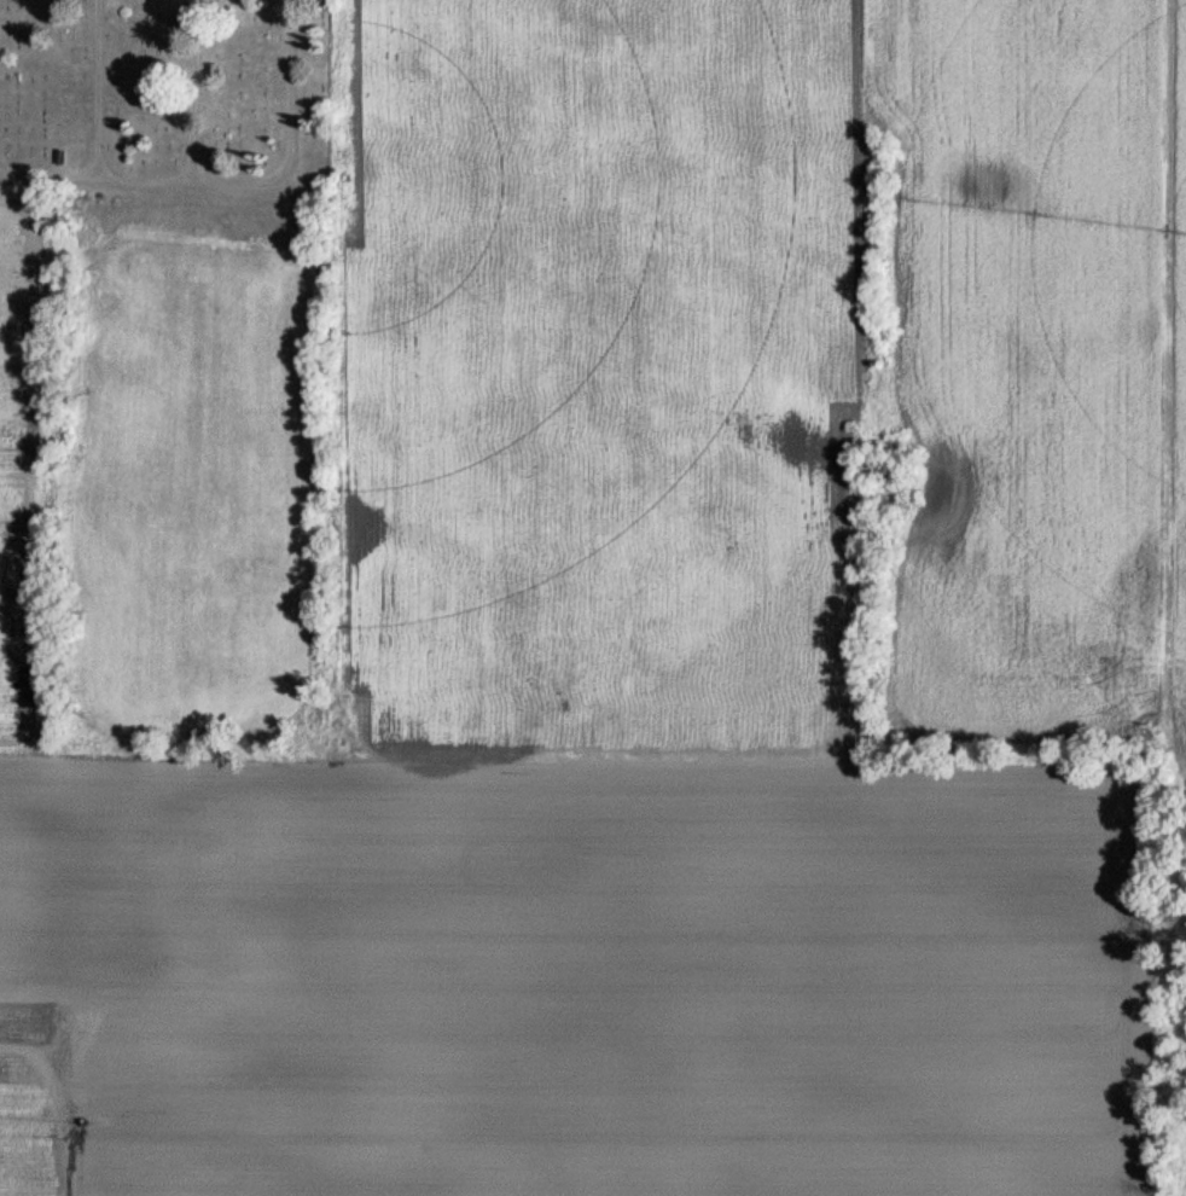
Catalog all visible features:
road: (100, 89)
road: (192, 91)
park: (173, 118)
road: (238, 181)

